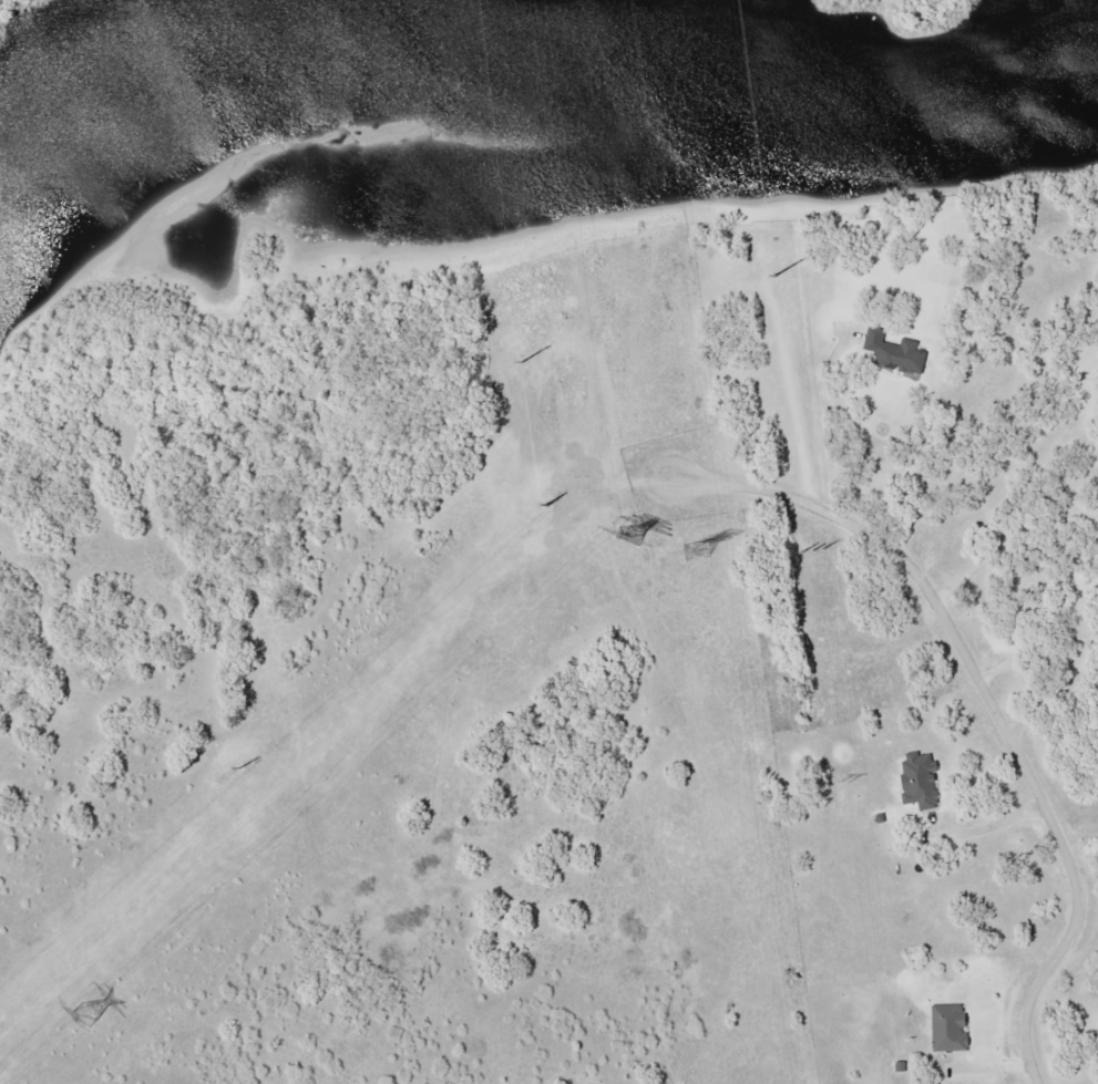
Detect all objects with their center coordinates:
power plant: (853, 6)
power plant: (11, 18)
power tower: (774, 257)
building: (893, 352)
building: (1097, 396)
power tower: (629, 538)
power tower: (694, 553)
road: (987, 708)
power tower: (843, 781)
power tower: (82, 1014)

